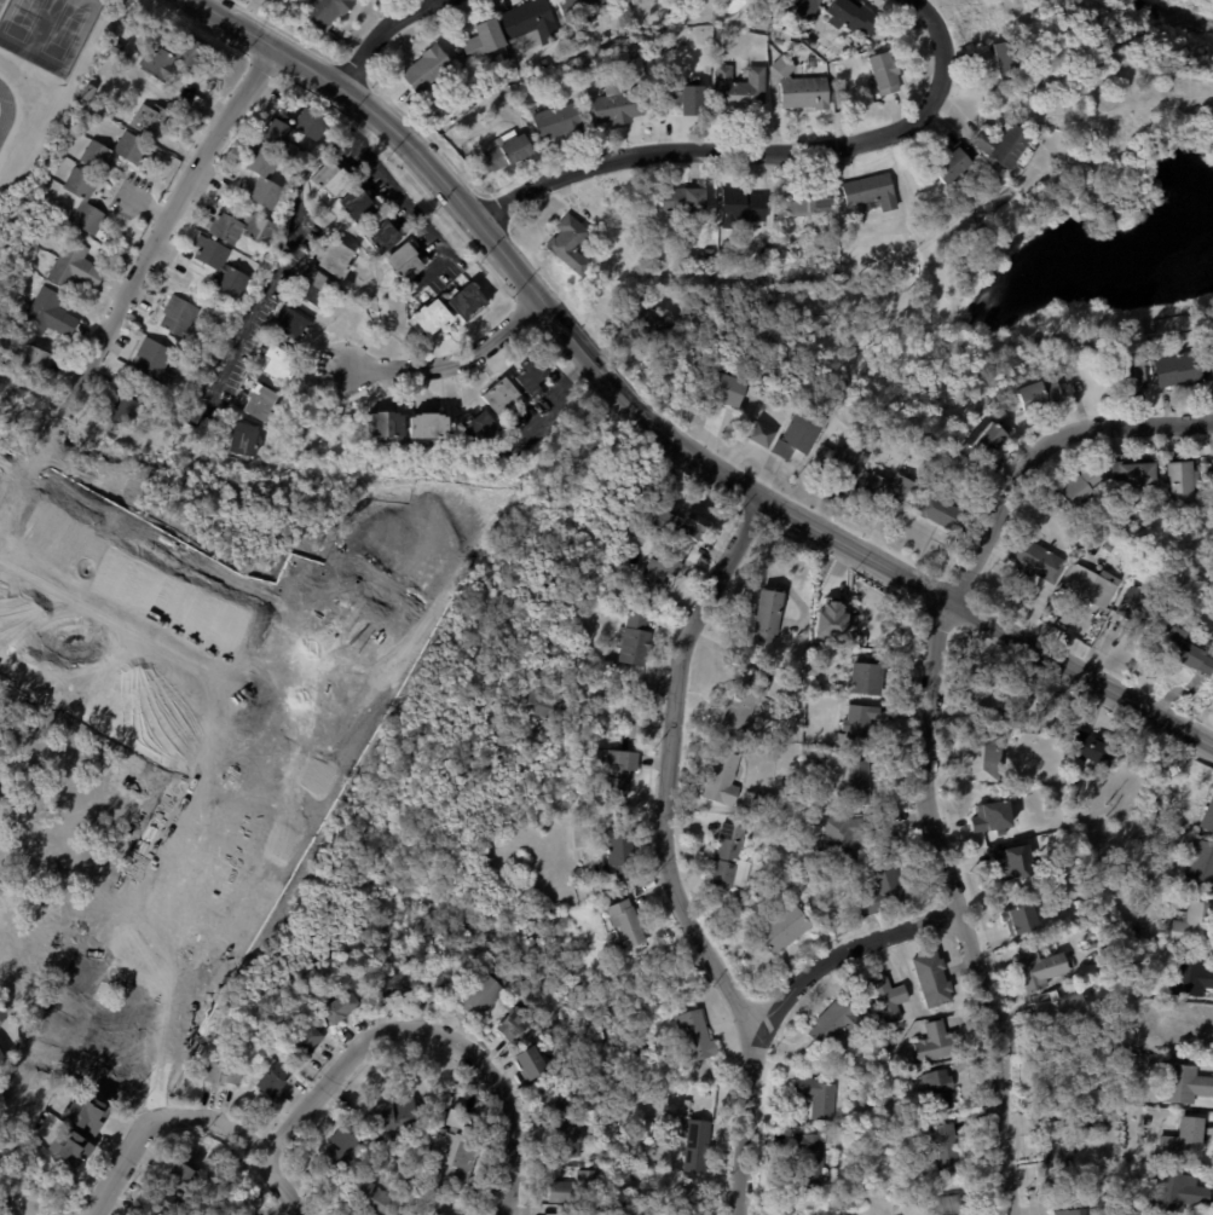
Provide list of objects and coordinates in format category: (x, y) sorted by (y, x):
track: (1, 2)
building: (578, 8)
building: (808, 8)
building: (325, 12)
road: (216, 16)
building: (853, 17)
park: (23, 18)
building: (757, 23)
building: (530, 27)
park: (63, 30)
building: (779, 34)
road: (387, 37)
building: (485, 42)
building: (112, 46)
building: (634, 50)
building: (173, 57)
building: (1010, 60)
building: (108, 63)
building: (825, 70)
building: (429, 71)
building: (526, 71)
building: (884, 75)
building: (801, 89)
building: (739, 91)
building: (86, 92)
building: (686, 100)
building: (619, 104)
track: (5, 110)
building: (149, 120)
building: (556, 122)
building: (291, 129)
road: (897, 131)
building: (1006, 150)
building: (504, 152)
road: (607, 167)
building: (952, 168)
building: (260, 175)
building: (330, 178)
building: (80, 184)
building: (871, 192)
building: (808, 199)
building: (683, 202)
road: (406, 203)
building: (743, 204)
building: (356, 206)
building: (943, 212)
building: (238, 227)
building: (379, 235)
building: (568, 243)
road: (288, 256)
building: (334, 258)
building: (403, 262)
building: (73, 266)
building: (219, 267)
building: (314, 287)
road: (133, 288)
building: (466, 301)
building: (47, 313)
building: (179, 316)
building: (433, 318)
building: (290, 324)
building: (648, 324)
road: (576, 342)
building: (151, 359)
road: (455, 359)
building: (33, 361)
building: (1212, 361)
building: (275, 363)
building: (1176, 368)
building: (1126, 374)
building: (530, 376)
building: (726, 389)
building: (1040, 394)
building: (499, 397)
building: (258, 403)
building: (121, 409)
building: (717, 412)
building: (385, 424)
building: (426, 426)
building: (476, 426)
building: (762, 434)
building: (798, 435)
building: (241, 439)
building: (988, 441)
building: (883, 453)
building: (914, 453)
building: (1212, 462)
building: (841, 467)
building: (1136, 474)
building: (1180, 484)
building: (1079, 488)
building: (891, 493)
building: (943, 514)
building: (660, 520)
building: (692, 527)
building: (1108, 546)
building: (1036, 560)
building: (654, 577)
building: (1092, 586)
building: (1143, 608)
building: (768, 614)
road: (111, 619)
building: (831, 621)
building: (635, 642)
building: (1184, 650)
building: (764, 670)
road: (1081, 675)
building: (868, 677)
building: (822, 690)
building: (1001, 700)
building: (634, 702)
building: (743, 705)
building: (544, 707)
building: (856, 727)
road: (930, 736)
building: (1090, 751)
building: (981, 758)
building: (616, 774)
building: (721, 776)
building: (857, 783)
building: (790, 792)
building: (773, 802)
building: (791, 809)
building: (989, 815)
building: (1208, 818)
building: (839, 844)
building: (619, 854)
building: (729, 856)
building: (1202, 862)
road: (664, 863)
building: (1011, 868)
building: (801, 870)
building: (883, 892)
building: (1018, 919)
building: (822, 922)
building: (625, 924)
building: (1195, 926)
building: (781, 928)
building: (1092, 933)
road: (848, 950)
building: (1040, 970)
building: (1191, 977)
building: (932, 978)
building: (433, 985)
building: (388, 990)
building: (483, 995)
building: (888, 997)
building: (337, 1011)
building: (1, 1016)
building: (1062, 1016)
building: (1109, 1019)
building: (512, 1023)
building: (836, 1023)
building: (1184, 1030)
building: (693, 1037)
building: (1113, 1040)
building: (937, 1041)
building: (304, 1046)
building: (0, 1059)
building: (530, 1066)
road: (336, 1072)
building: (220, 1076)
building: (271, 1082)
building: (1184, 1086)
building: (937, 1088)
building: (818, 1097)
building: (550, 1104)
road: (507, 1107)
building: (85, 1115)
building: (395, 1121)
building: (454, 1121)
building: (1146, 1123)
building: (1091, 1128)
building: (1143, 1139)
building: (567, 1144)
building: (695, 1144)
building: (1183, 1144)
building: (942, 1146)
road: (248, 1147)
building: (340, 1151)
road: (125, 1155)
building: (1056, 1155)
building: (454, 1157)
building: (809, 1158)
building: (180, 1179)
building: (573, 1188)
building: (1179, 1194)
building: (365, 1197)
building: (966, 1202)
building: (167, 1204)
building: (945, 1204)
building: (580, 1213)
building: (787, 1213)
building: (1068, 1213)

